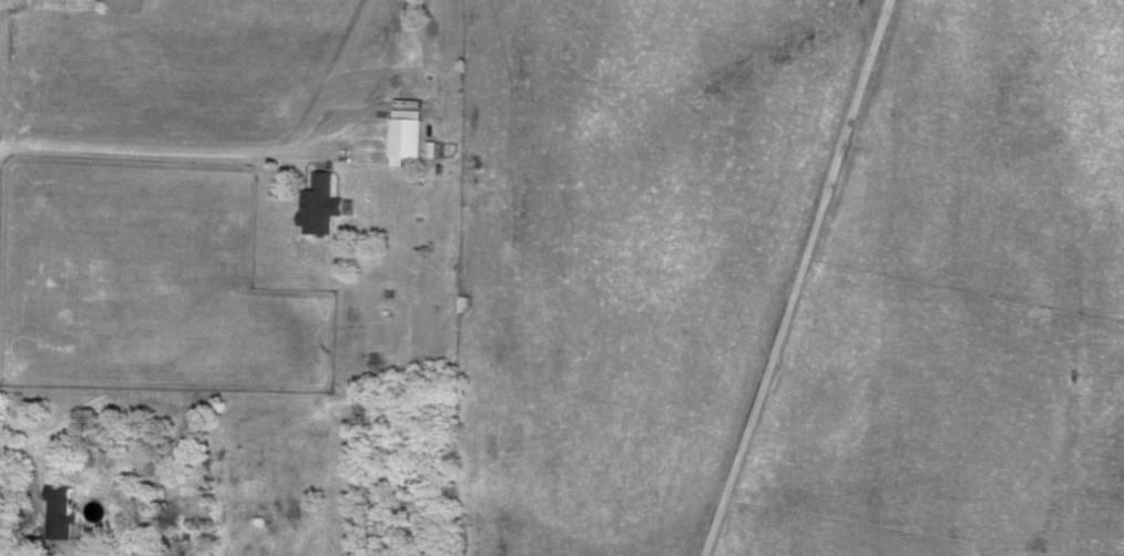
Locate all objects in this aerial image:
building: (410, 133)
road: (159, 151)
building: (324, 203)
railway: (796, 278)
road: (803, 278)
building: (63, 511)

